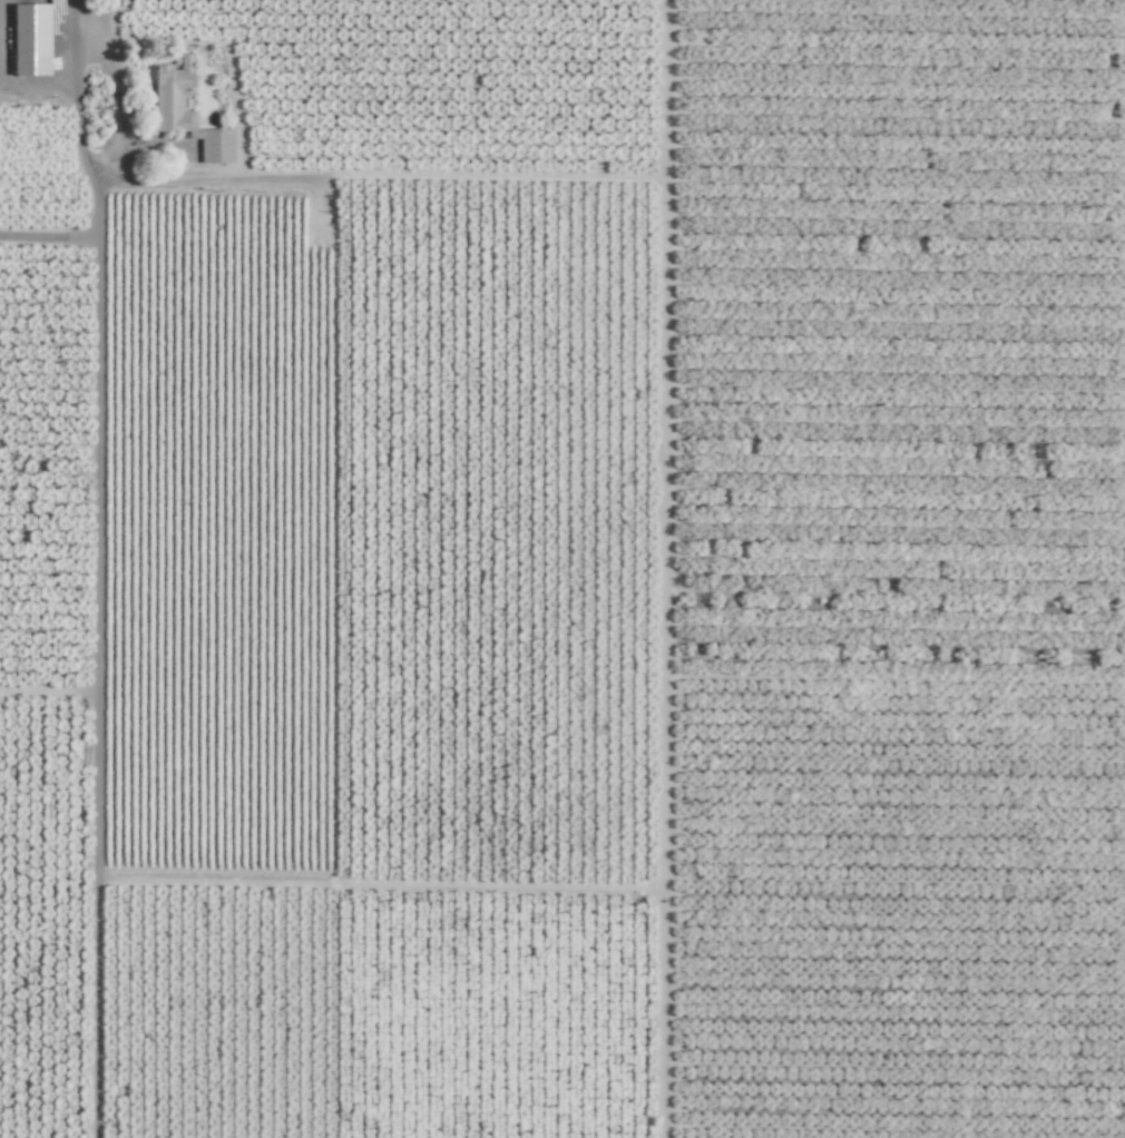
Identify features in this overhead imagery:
building: (30, 39)
road: (75, 46)
building: (187, 114)
road: (334, 174)
road: (667, 568)

